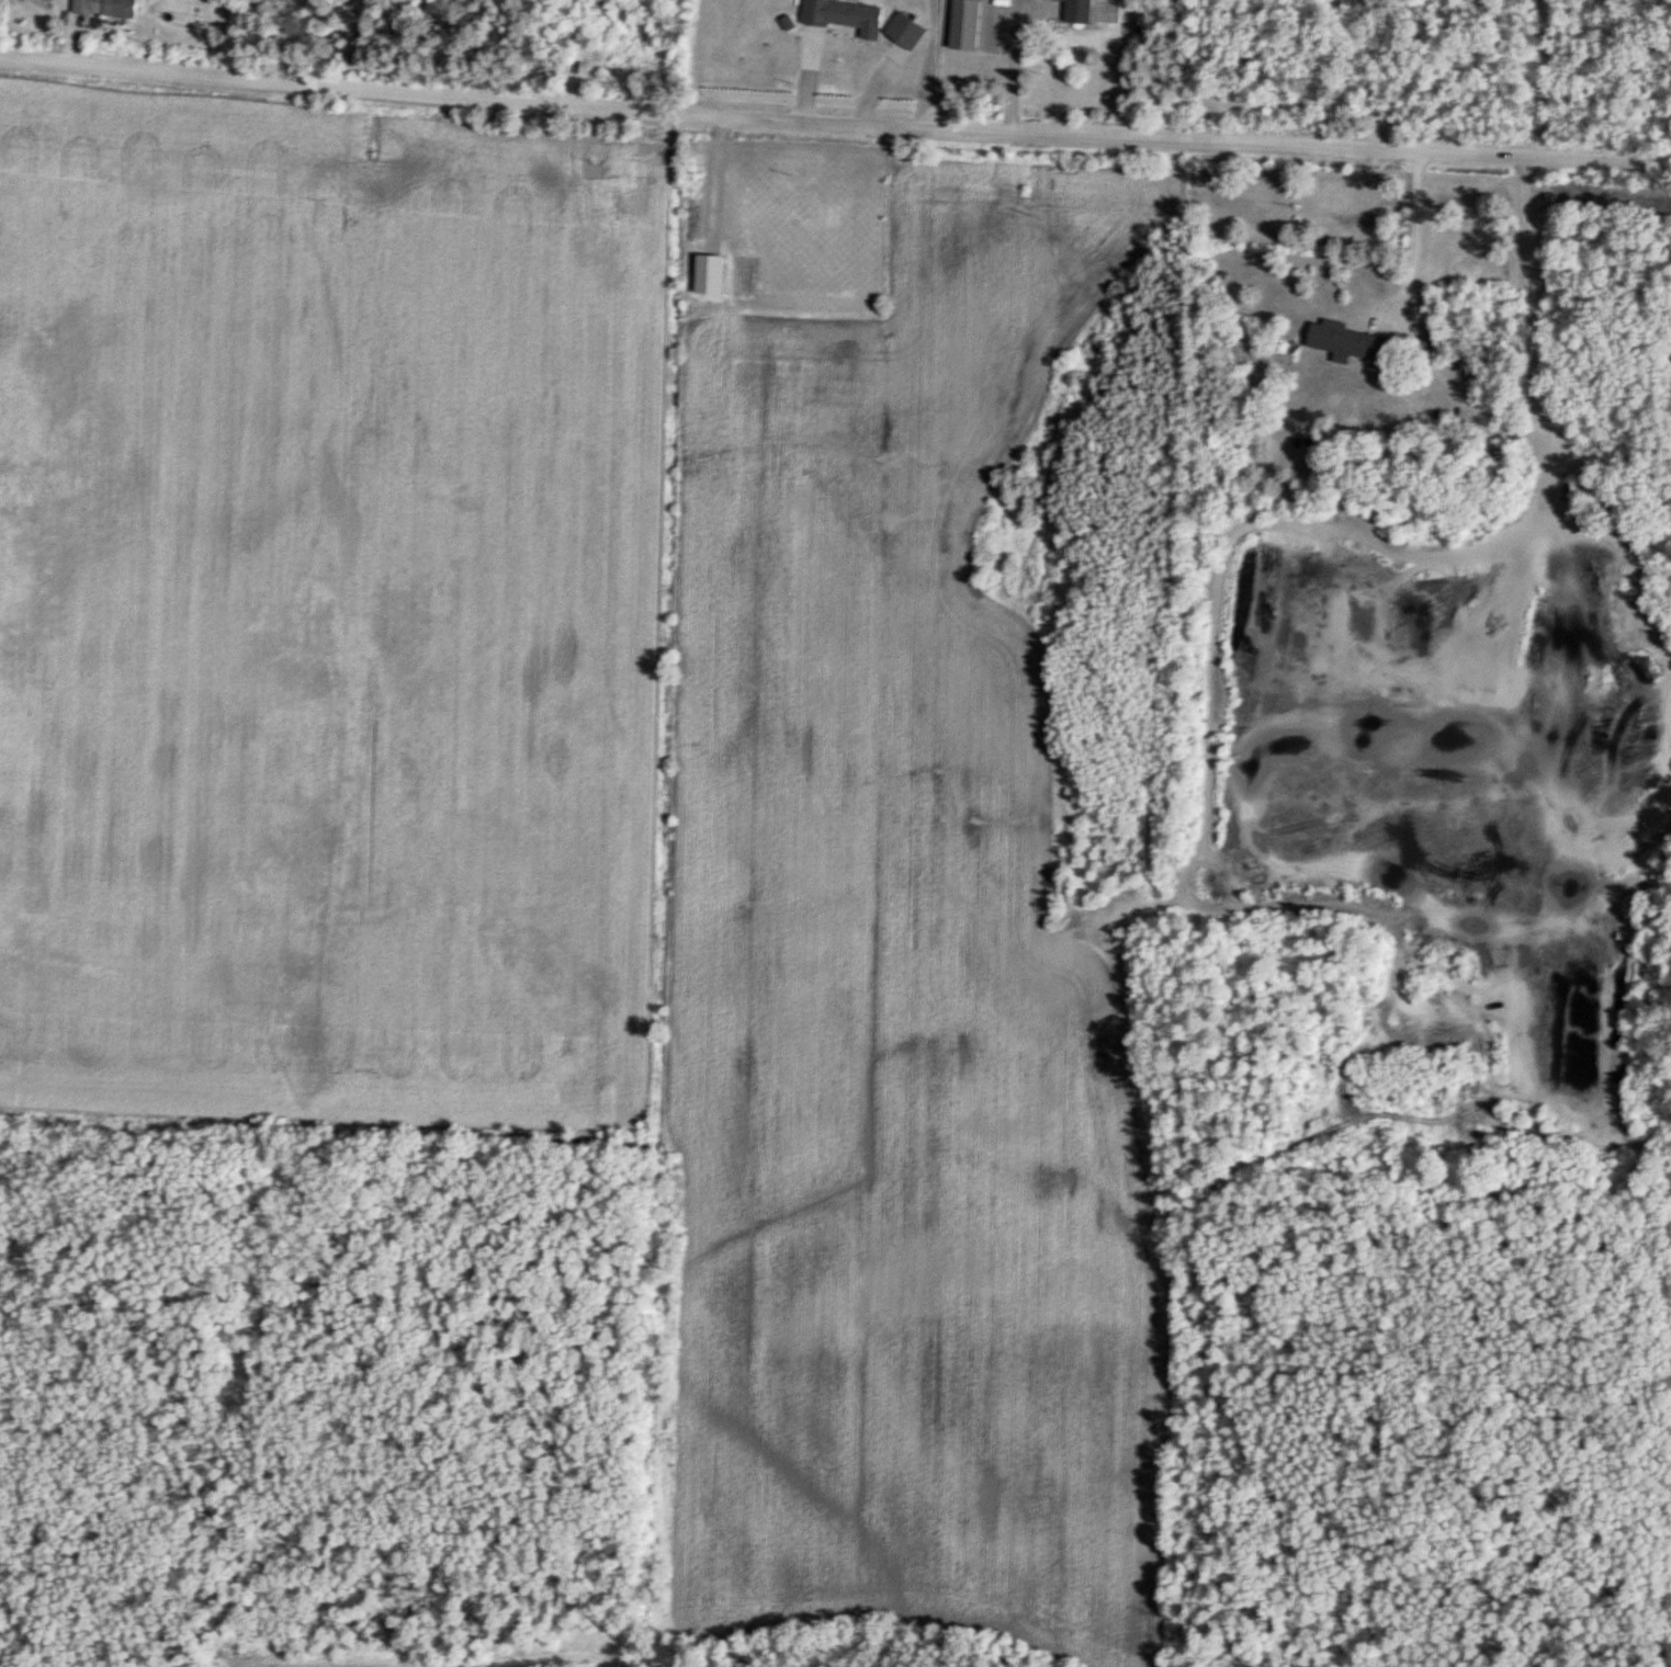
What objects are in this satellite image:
building: (103, 7)
building: (1062, 10)
building: (843, 14)
road: (1015, 70)
road: (1542, 79)
road: (834, 124)
road: (1396, 230)
building: (1343, 339)

